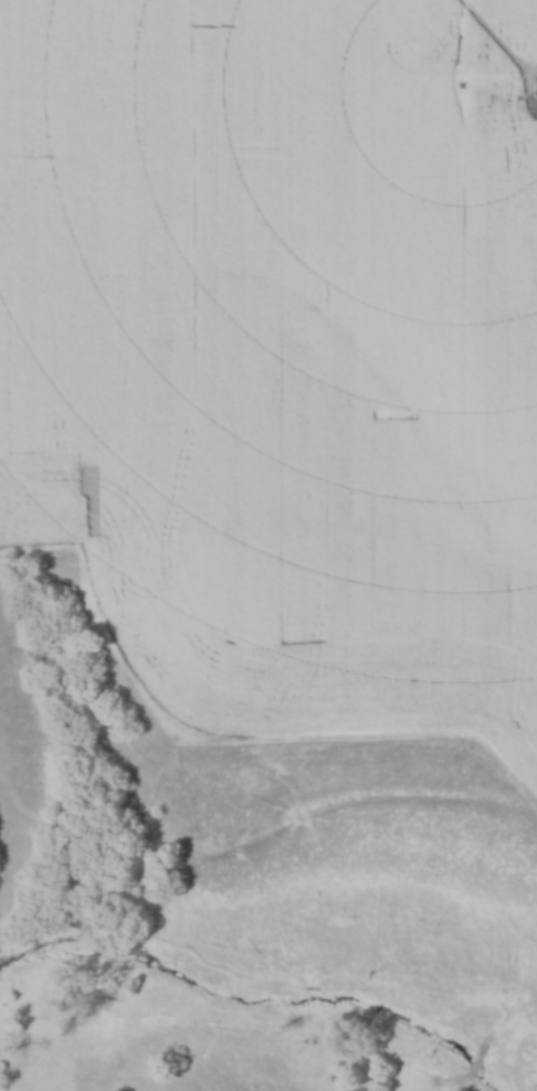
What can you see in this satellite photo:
river: (253, 1002)

